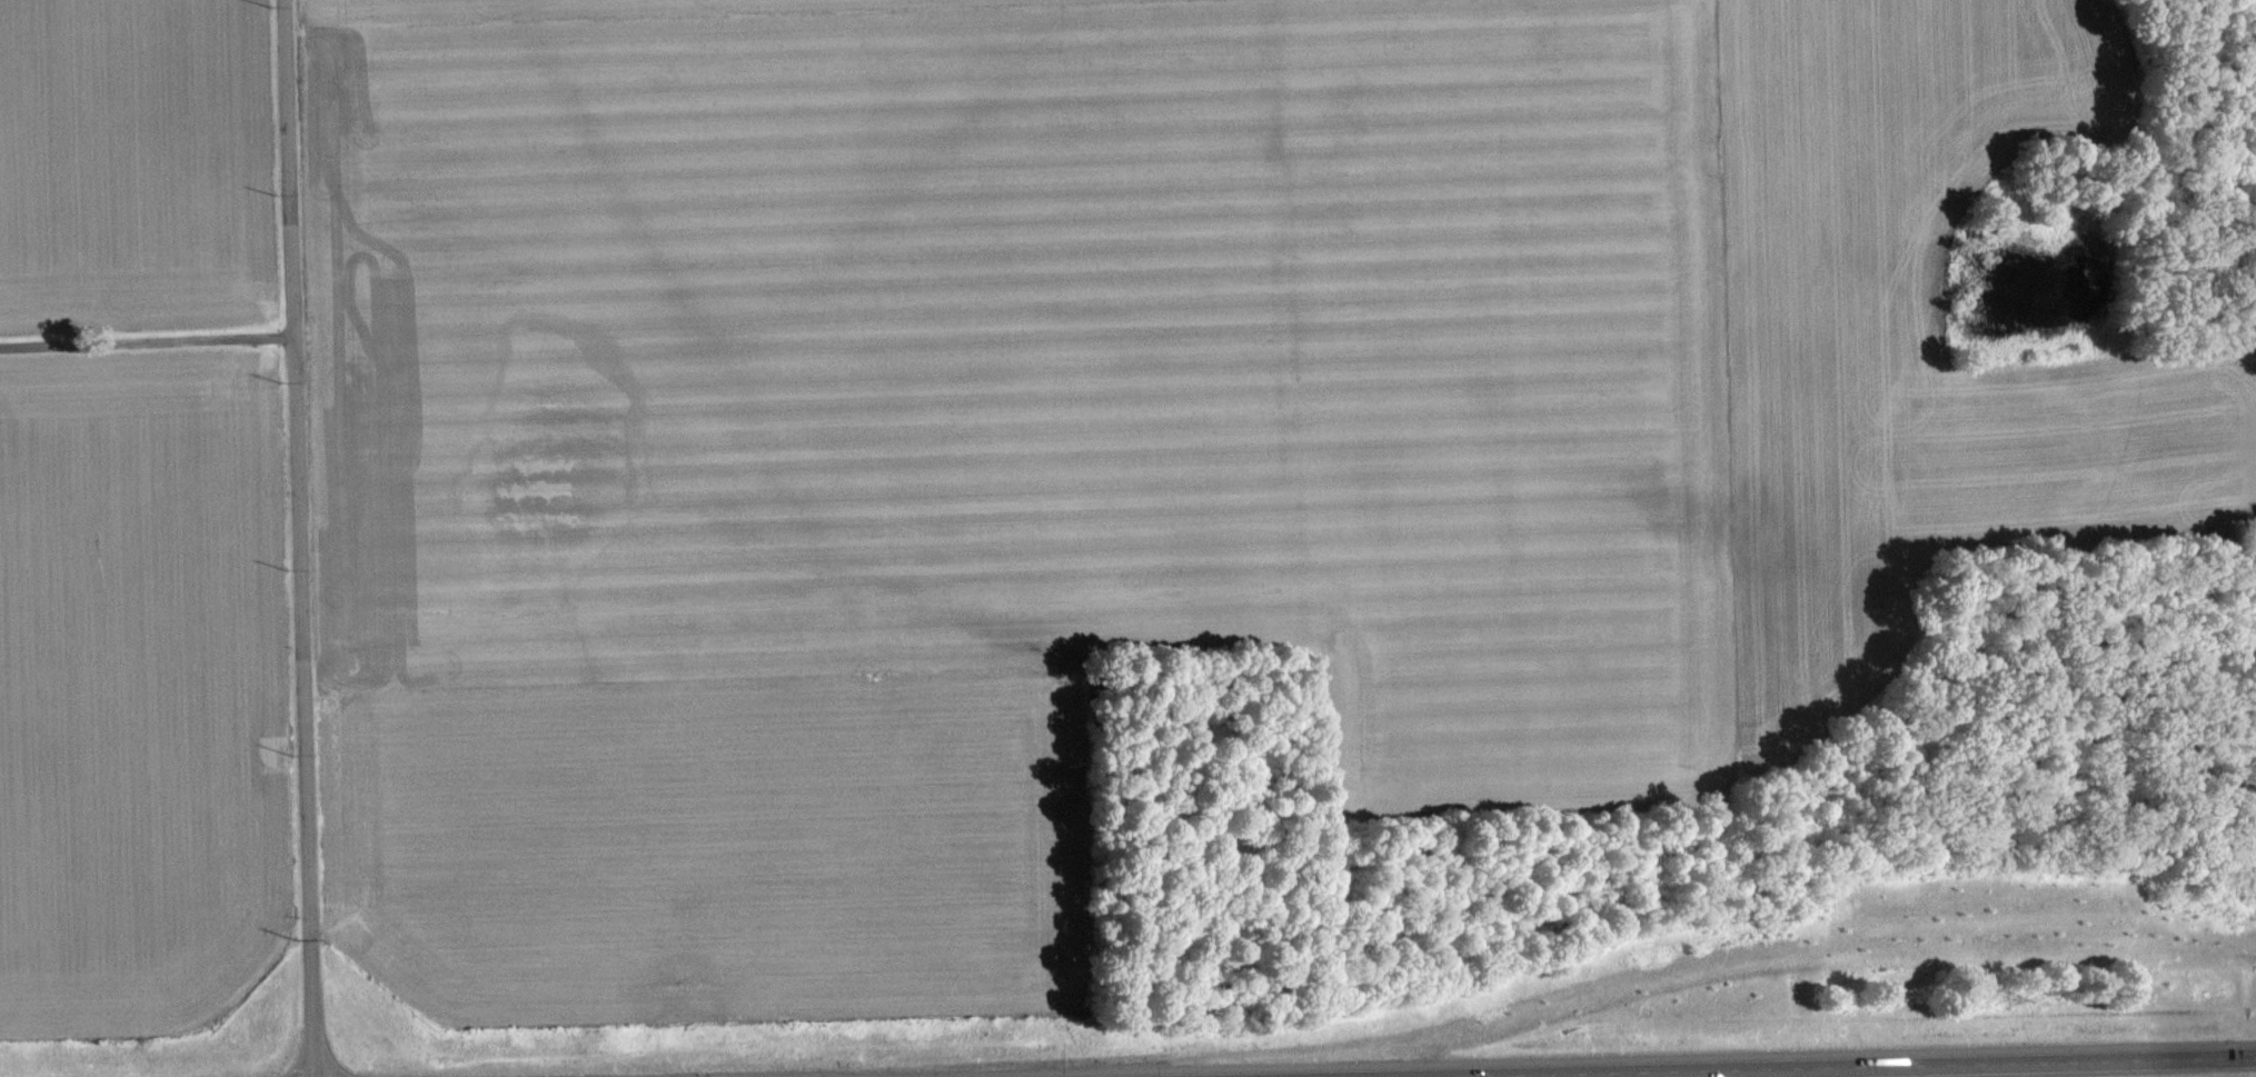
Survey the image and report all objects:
road: (299, 538)
road: (1819, 1066)

